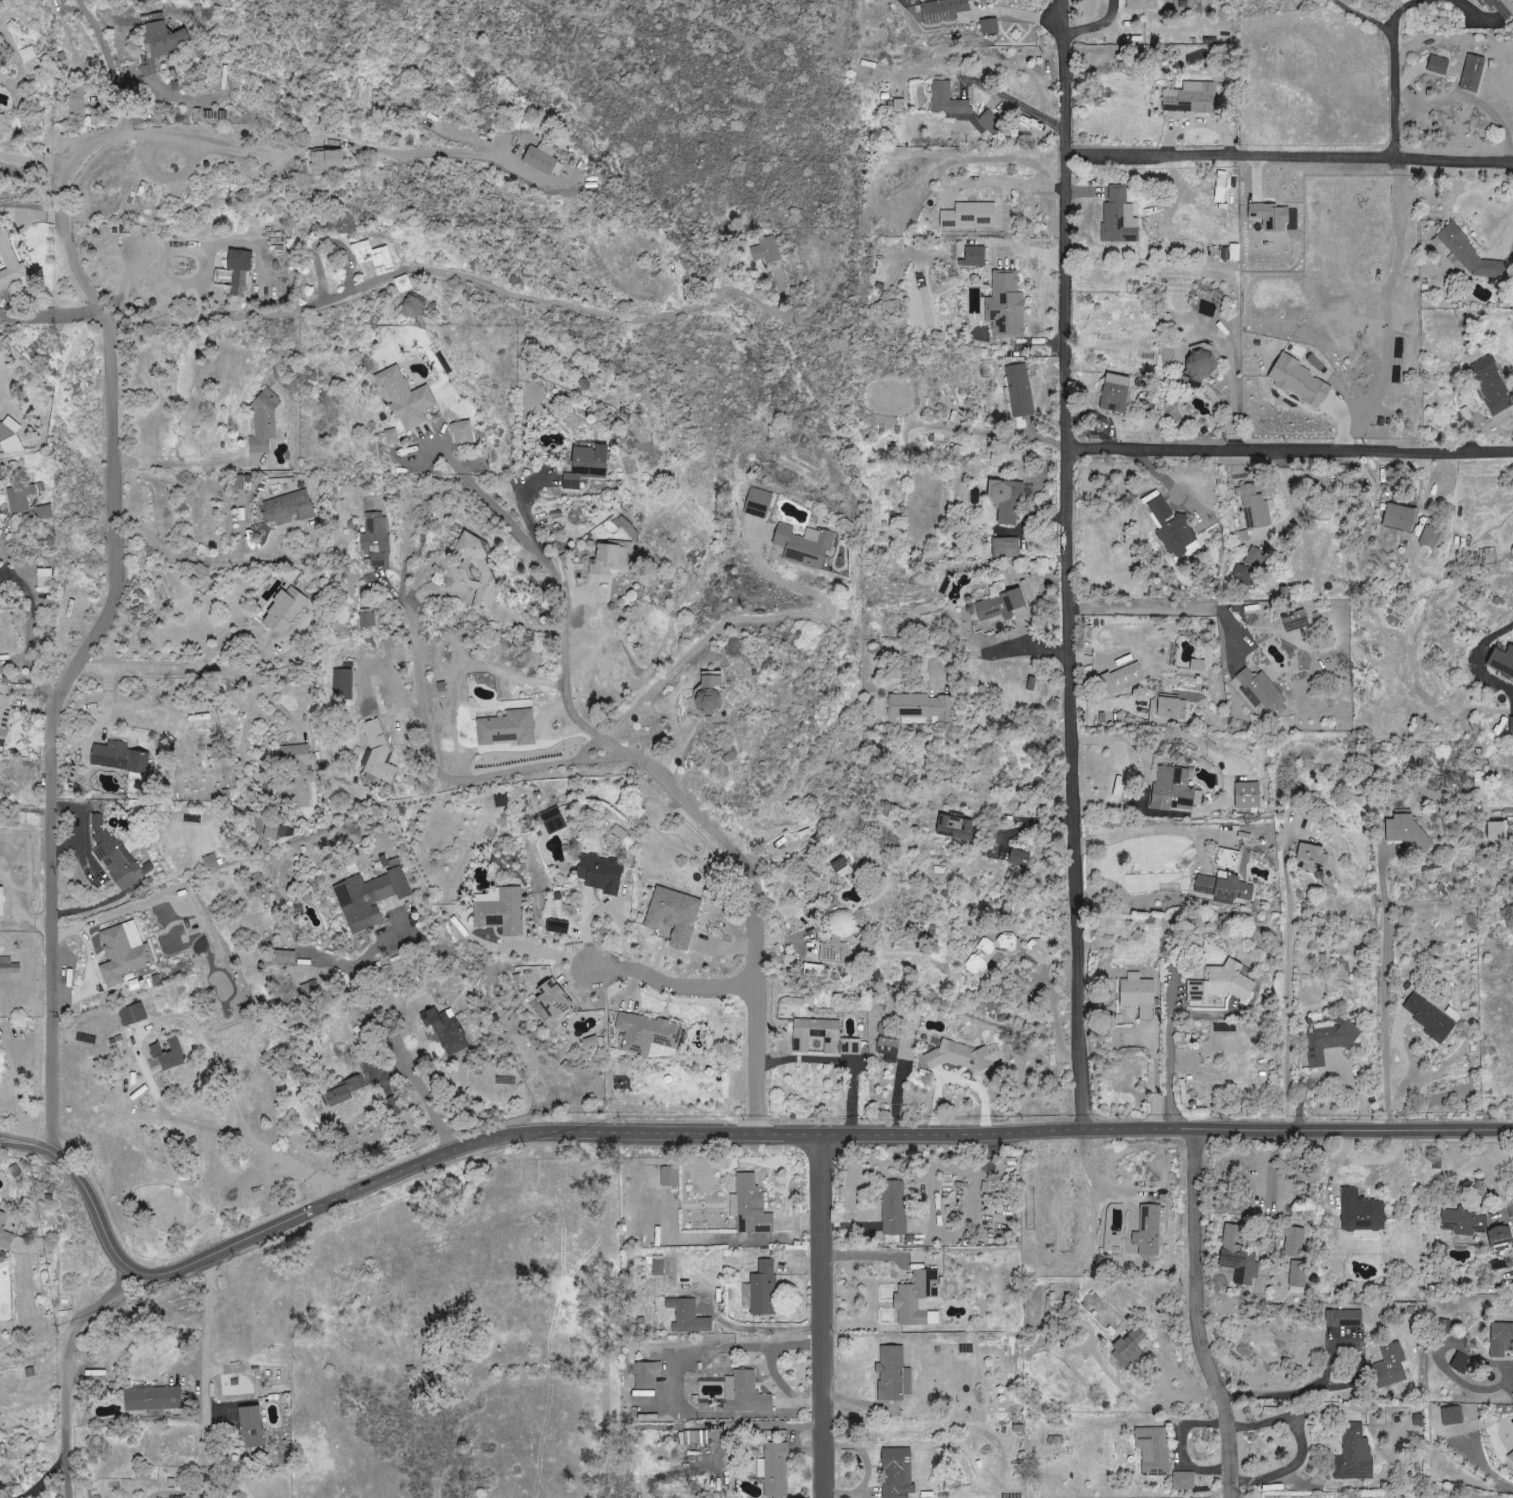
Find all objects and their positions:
building: (1143, 4)
road: (1068, 6)
building: (1500, 8)
road: (1470, 9)
building: (944, 10)
road: (1399, 10)
road: (1021, 14)
road: (1366, 15)
building: (991, 26)
building: (163, 41)
building: (29, 53)
road: (110, 61)
building: (1436, 65)
building: (1471, 73)
road: (1395, 94)
road: (1469, 97)
building: (1192, 98)
building: (78, 100)
road: (1017, 103)
building: (958, 107)
building: (1, 110)
road: (316, 139)
road: (1291, 155)
building: (329, 160)
building: (546, 161)
road: (1008, 183)
building: (1222, 186)
road: (32, 196)
building: (972, 214)
building: (1121, 217)
road: (186, 245)
building: (767, 250)
building: (1466, 254)
building: (977, 255)
building: (375, 256)
building: (12, 261)
road: (415, 268)
building: (241, 271)
building: (403, 283)
building: (1008, 306)
building: (1208, 309)
road: (1389, 309)
road: (51, 314)
building: (1201, 364)
building: (1492, 385)
building: (1020, 390)
building: (1118, 393)
building: (408, 396)
building: (924, 400)
building: (7, 427)
building: (265, 427)
building: (465, 432)
building: (393, 436)
building: (12, 445)
road: (1292, 453)
building: (594, 458)
road: (186, 466)
building: (574, 481)
building: (22, 498)
building: (1008, 500)
building: (761, 503)
building: (1257, 506)
building: (290, 508)
building: (46, 513)
road: (530, 516)
road: (508, 517)
building: (1403, 517)
building: (1179, 530)
building: (1245, 536)
building: (1431, 537)
building: (378, 539)
building: (806, 545)
building: (1008, 547)
building: (613, 558)
road: (435, 561)
road: (198, 563)
building: (1252, 566)
building: (481, 570)
road: (1071, 571)
building: (46, 577)
building: (1003, 605)
building: (288, 609)
road: (1143, 611)
road: (751, 618)
building: (369, 620)
road: (1232, 620)
building: (1297, 620)
road: (34, 630)
road: (97, 642)
road: (991, 651)
road: (1479, 658)
building: (1500, 661)
road: (171, 668)
building: (1124, 678)
building: (345, 682)
building: (1263, 688)
building: (714, 692)
building: (922, 707)
building: (1168, 708)
building: (4, 715)
building: (1509, 726)
building: (510, 727)
building: (378, 754)
building: (297, 755)
building: (122, 757)
road: (438, 772)
building: (1175, 789)
building: (299, 791)
building: (1250, 795)
road: (27, 807)
building: (556, 820)
road: (1040, 821)
building: (957, 827)
building: (1403, 828)
building: (1495, 830)
building: (274, 831)
road: (1157, 831)
road: (719, 838)
building: (118, 856)
building: (1315, 857)
building: (1021, 858)
building: (212, 861)
building: (842, 867)
building: (604, 873)
building: (1226, 886)
building: (371, 897)
building: (502, 910)
building: (676, 915)
building: (560, 927)
building: (840, 937)
building: (1009, 941)
building: (1043, 950)
building: (126, 953)
road: (539, 954)
building: (285, 956)
building: (983, 957)
building: (10, 966)
road: (673, 983)
building: (1226, 983)
road: (1385, 990)
road: (1289, 994)
building: (1140, 995)
building: (558, 1001)
building: (134, 1015)
building: (1428, 1018)
building: (448, 1030)
building: (651, 1035)
building: (825, 1037)
building: (1328, 1040)
building: (594, 1042)
road: (398, 1045)
building: (890, 1049)
building: (171, 1054)
building: (965, 1056)
road: (1169, 1058)
road: (1331, 1067)
road: (24, 1090)
building: (347, 1091)
road: (706, 1133)
building: (671, 1176)
road: (1102, 1179)
building: (752, 1204)
building: (895, 1208)
building: (1360, 1215)
building: (1471, 1226)
building: (1150, 1230)
building: (6, 1231)
building: (1292, 1242)
building: (660, 1265)
building: (1239, 1267)
building: (1295, 1274)
building: (920, 1299)
road: (206, 1315)
road: (826, 1315)
road: (1194, 1315)
road: (604, 1316)
building: (690, 1317)
building: (1342, 1318)
building: (1441, 1325)
road: (42, 1330)
building: (1500, 1338)
building: (1130, 1349)
building: (1388, 1366)
road: (66, 1369)
building: (892, 1373)
building: (649, 1375)
building: (747, 1393)
road: (1291, 1395)
building: (154, 1398)
building: (1451, 1415)
building: (254, 1427)
building: (694, 1437)
building: (1155, 1449)
building: (1352, 1454)
building: (1510, 1456)
road: (1482, 1468)
building: (776, 1469)
building: (899, 1473)
building: (1185, 1480)

